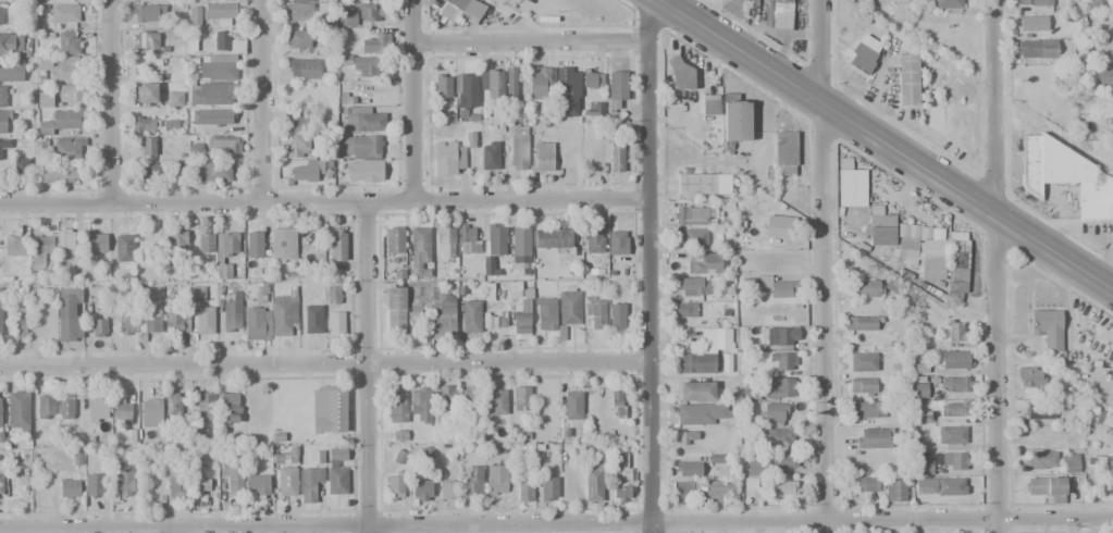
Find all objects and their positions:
building: (11, 1)
building: (60, 1)
building: (1106, 1)
building: (751, 2)
building: (947, 3)
building: (735, 4)
building: (1112, 4)
building: (1037, 5)
building: (220, 10)
building: (299, 10)
building: (459, 10)
building: (369, 12)
building: (64, 13)
building: (148, 13)
building: (0, 15)
building: (778, 15)
building: (194, 16)
building: (348, 20)
building: (1032, 23)
building: (1112, 27)
building: (298, 38)
road: (534, 38)
building: (145, 39)
building: (221, 40)
building: (67, 42)
building: (11, 44)
building: (373, 45)
building: (1036, 52)
building: (864, 54)
building: (362, 66)
building: (175, 67)
building: (218, 67)
building: (67, 69)
building: (304, 69)
building: (11, 72)
building: (681, 74)
building: (1102, 76)
building: (592, 77)
building: (1059, 77)
building: (906, 79)
building: (564, 82)
building: (510, 83)
building: (539, 83)
building: (492, 84)
building: (442, 85)
building: (616, 88)
building: (465, 91)
building: (72, 92)
building: (146, 92)
building: (210, 94)
building: (2, 96)
road: (419, 98)
building: (44, 99)
building: (175, 99)
building: (346, 99)
road: (113, 102)
road: (264, 102)
building: (709, 104)
building: (593, 108)
building: (218, 116)
building: (734, 119)
building: (361, 120)
building: (4, 121)
building: (60, 122)
building: (140, 124)
building: (298, 124)
building: (1110, 126)
building: (469, 140)
road: (890, 141)
building: (3, 144)
building: (223, 144)
building: (147, 146)
building: (296, 147)
building: (518, 147)
building: (67, 148)
building: (195, 149)
building: (786, 153)
building: (489, 154)
building: (616, 154)
building: (543, 156)
building: (0, 158)
building: (363, 158)
building: (448, 158)
building: (22, 165)
building: (306, 171)
building: (149, 172)
building: (213, 172)
building: (59, 173)
building: (1064, 175)
building: (695, 184)
building: (852, 187)
road: (323, 200)
building: (691, 212)
building: (870, 225)
building: (778, 230)
building: (496, 238)
building: (552, 238)
building: (693, 238)
building: (468, 239)
building: (595, 239)
building: (394, 240)
building: (65, 241)
building: (174, 241)
building: (205, 241)
building: (445, 241)
building: (95, 243)
building: (618, 243)
building: (282, 244)
building: (337, 244)
building: (12, 245)
building: (227, 245)
building: (255, 245)
building: (519, 246)
building: (123, 248)
building: (39, 250)
building: (906, 250)
building: (419, 251)
building: (932, 259)
building: (956, 262)
building: (703, 263)
road: (647, 265)
road: (828, 265)
road: (999, 265)
building: (487, 266)
building: (399, 274)
building: (777, 284)
building: (893, 285)
building: (693, 286)
building: (865, 288)
building: (196, 294)
building: (332, 295)
building: (423, 305)
building: (569, 306)
building: (0, 309)
building: (683, 309)
building: (394, 310)
building: (69, 313)
building: (231, 313)
building: (545, 313)
building: (284, 314)
building: (597, 314)
building: (470, 315)
building: (616, 315)
building: (20, 317)
building: (447, 317)
building: (311, 319)
building: (148, 321)
building: (176, 321)
building: (205, 321)
building: (124, 322)
building: (257, 323)
building: (502, 323)
building: (860, 323)
building: (334, 324)
building: (521, 324)
building: (98, 327)
building: (955, 331)
building: (1048, 332)
building: (782, 337)
building: (716, 339)
building: (885, 339)
building: (955, 359)
building: (783, 360)
building: (862, 362)
road: (324, 363)
building: (695, 363)
road: (367, 365)
building: (1030, 377)
building: (954, 384)
building: (863, 386)
building: (777, 387)
building: (918, 388)
building: (704, 389)
building: (520, 398)
building: (446, 399)
building: (471, 399)
building: (420, 402)
building: (495, 402)
building: (173, 404)
building: (205, 405)
building: (572, 405)
building: (617, 405)
building: (228, 406)
building: (44, 407)
building: (396, 407)
building: (65, 408)
building: (954, 409)
building: (17, 410)
building: (97, 410)
building: (329, 410)
building: (861, 410)
building: (1038, 410)
building: (121, 411)
building: (774, 411)
building: (151, 412)
building: (703, 414)
building: (1106, 420)
building: (950, 436)
building: (685, 437)
building: (873, 437)
building: (775, 438)
building: (337, 453)
building: (779, 460)
building: (1039, 460)
building: (955, 461)
building: (1069, 462)
building: (1109, 462)
building: (923, 468)
building: (687, 469)
building: (597, 475)
building: (620, 475)
building: (232, 476)
building: (495, 479)
building: (286, 481)
building: (336, 481)
building: (470, 481)
building: (123, 482)
building: (176, 484)
building: (257, 484)
building: (308, 484)
building: (394, 484)
building: (522, 484)
building: (867, 484)
building: (95, 485)
building: (1111, 485)
building: (200, 486)
building: (939, 486)
building: (1, 487)
building: (783, 487)
building: (1046, 487)
building: (67, 488)
building: (716, 488)
building: (446, 489)
building: (548, 489)
building: (419, 491)
building: (895, 491)
building: (681, 492)
road: (556, 525)

